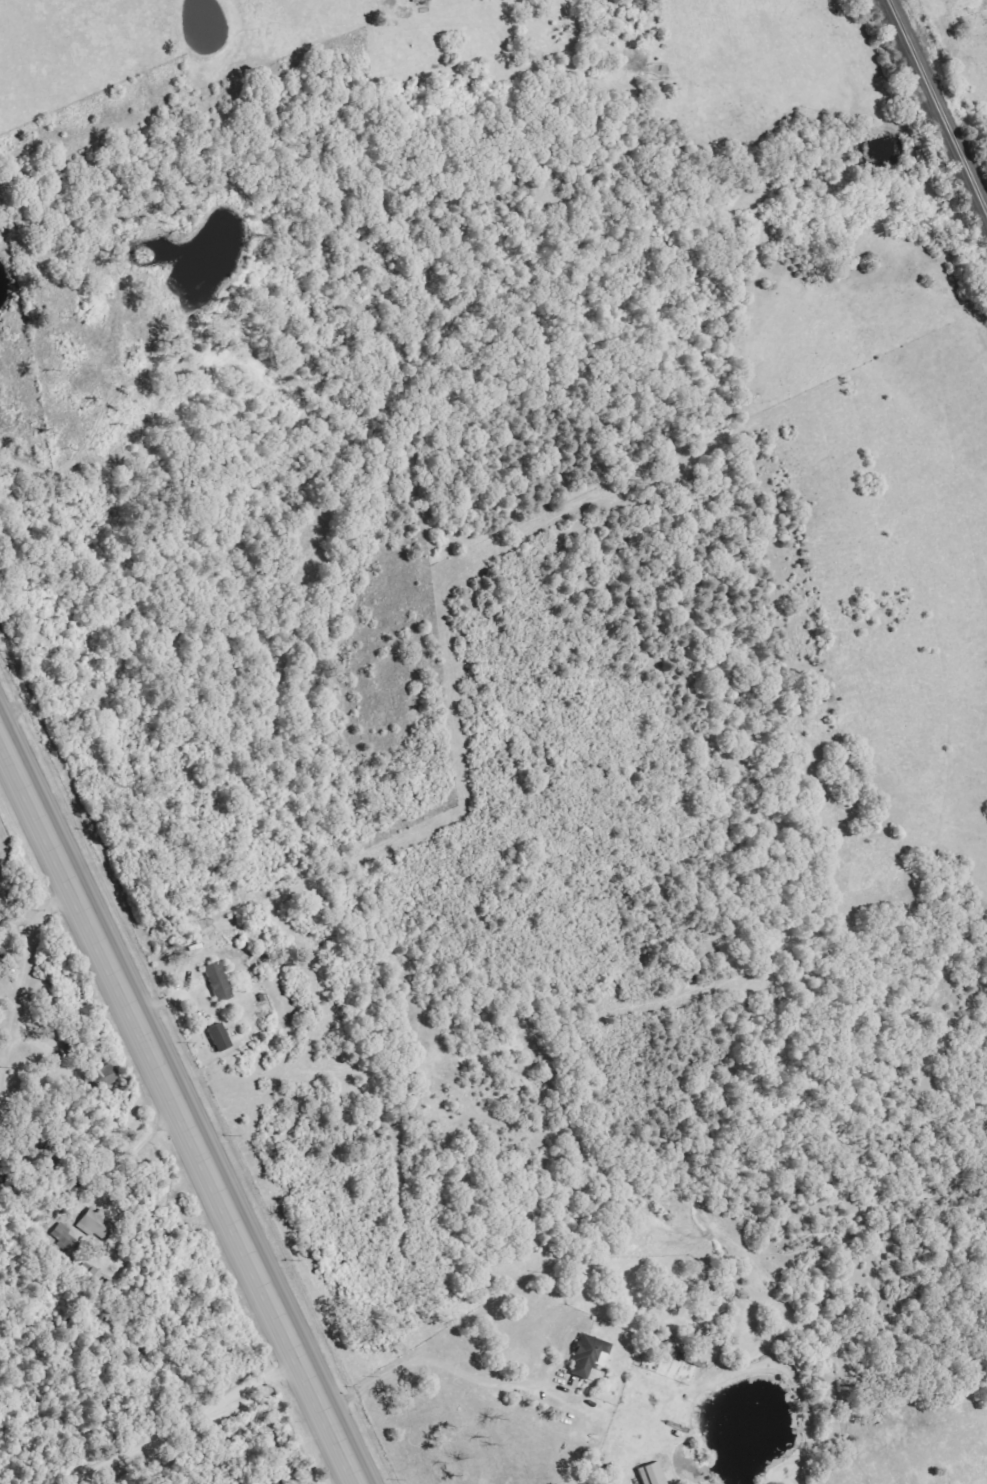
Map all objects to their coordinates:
railway: (936, 108)
road: (23, 975)
building: (220, 983)
building: (221, 1038)
building: (104, 1079)
road: (180, 1106)
building: (4, 1177)
building: (100, 1226)
building: (591, 1357)
road: (441, 1367)
road: (186, 1425)
building: (653, 1475)

